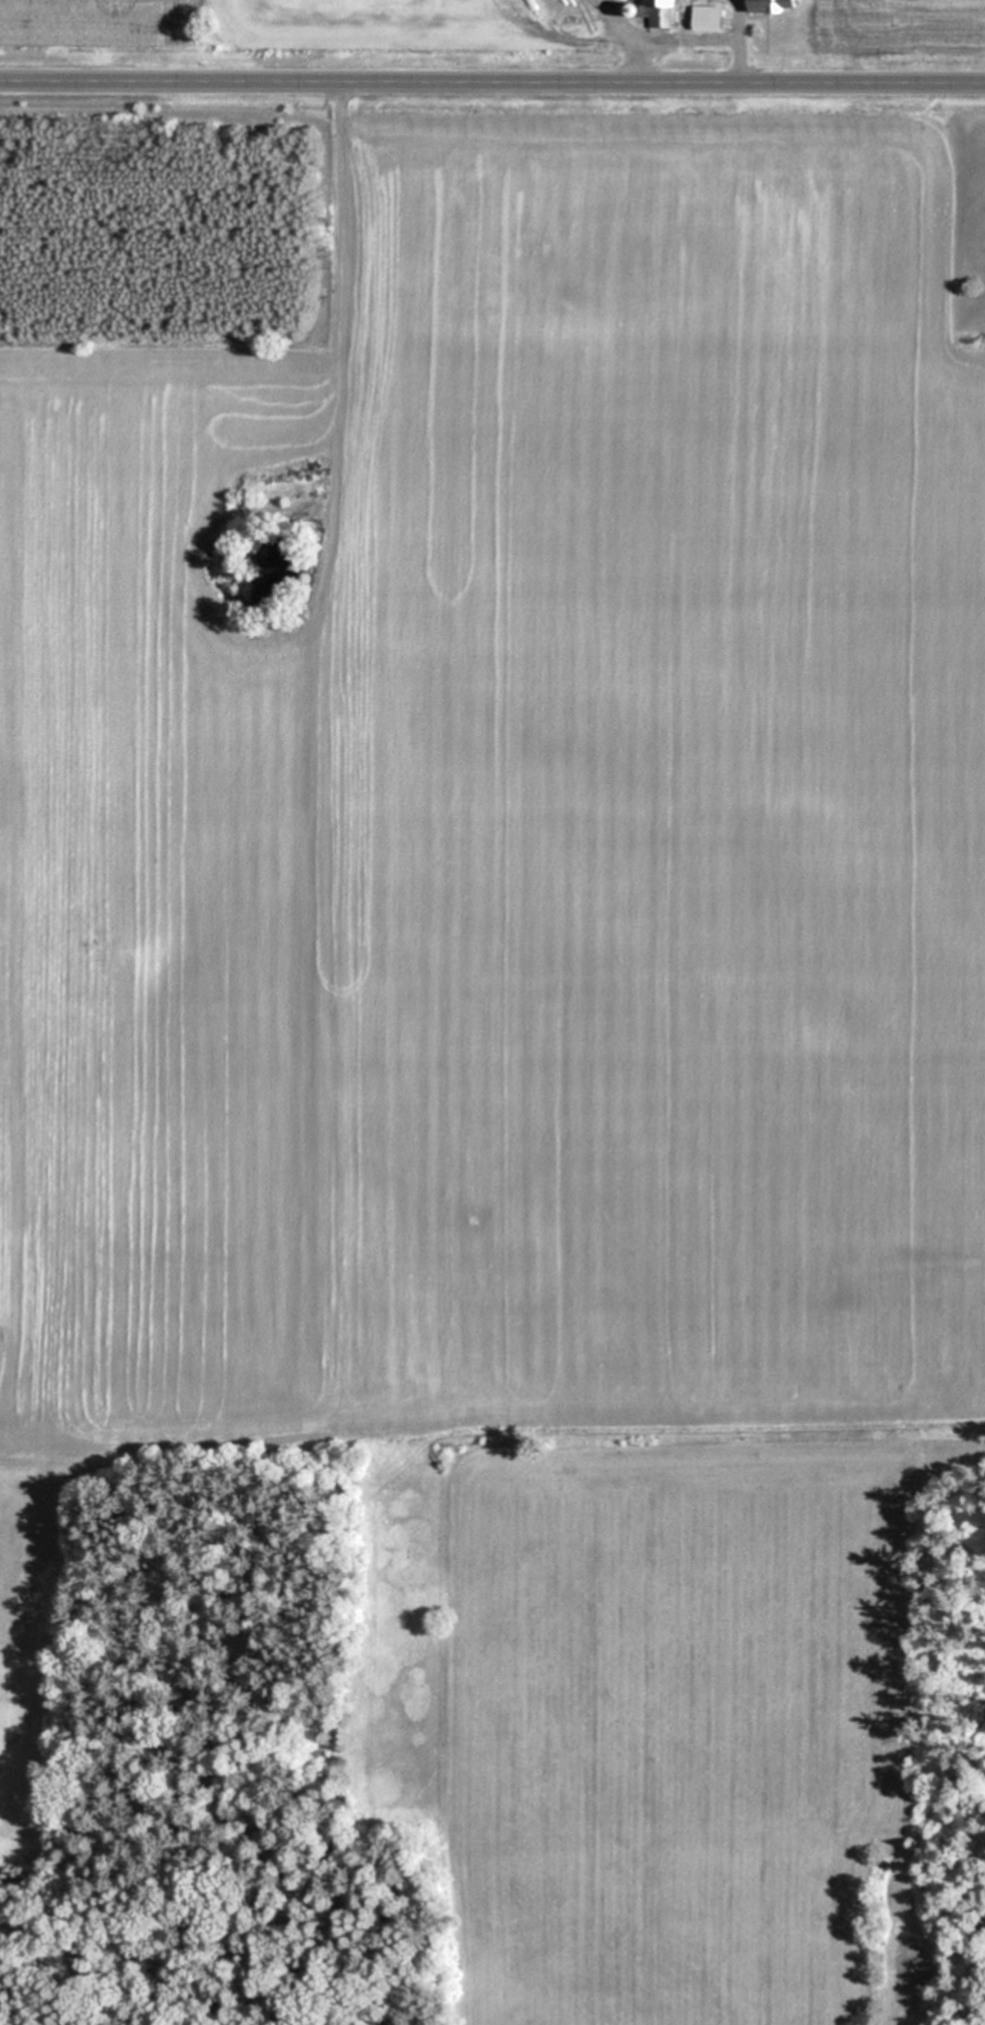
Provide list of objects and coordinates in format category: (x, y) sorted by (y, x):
building: (768, 5)
building: (662, 12)
building: (706, 15)
road: (668, 40)
road: (739, 41)
road: (492, 82)

